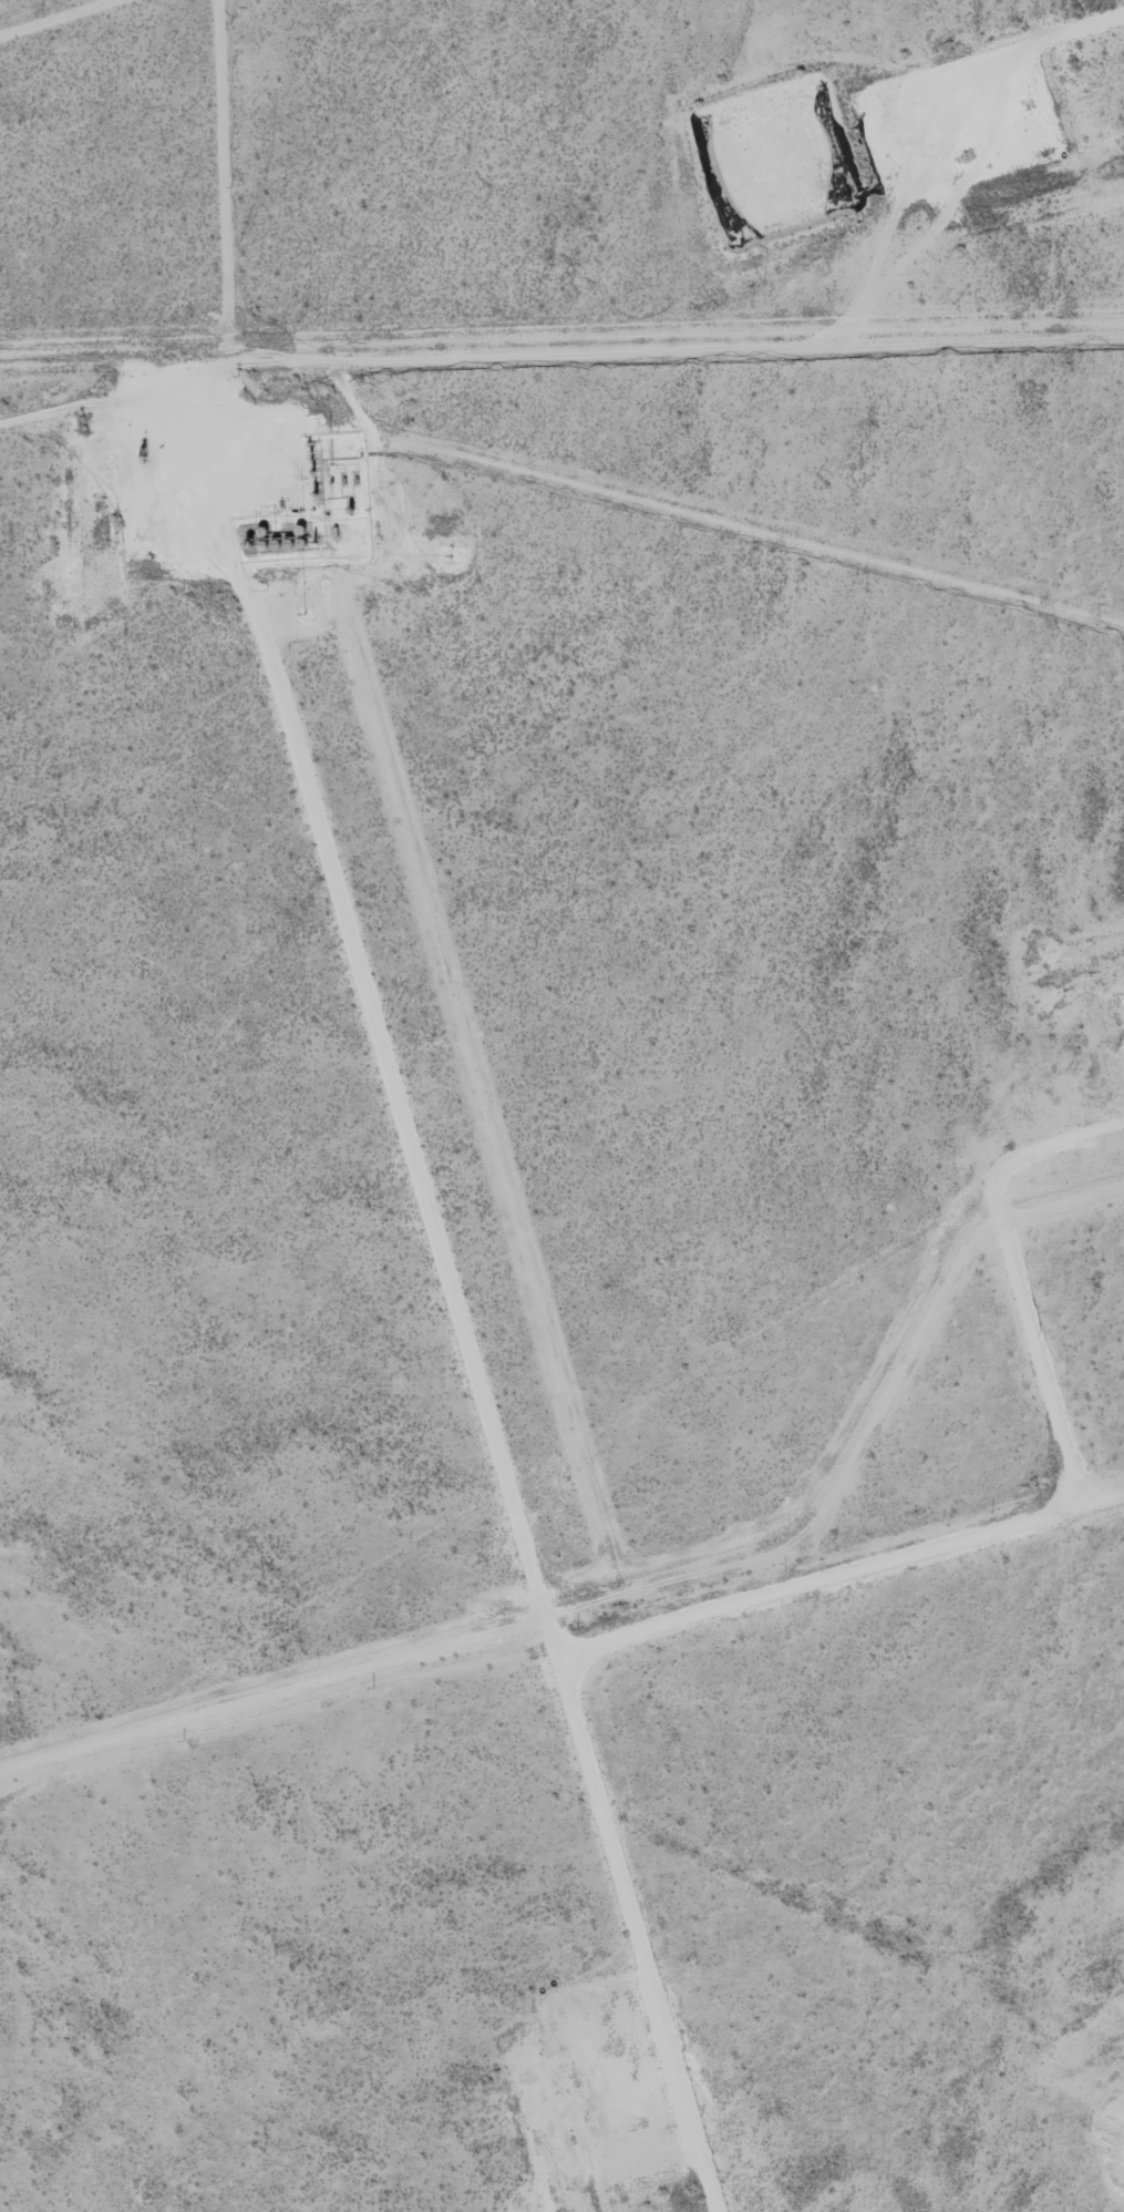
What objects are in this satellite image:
road: (1014, 55)
petroleum well: (970, 156)
road: (479, 1378)
road: (1084, 1518)

